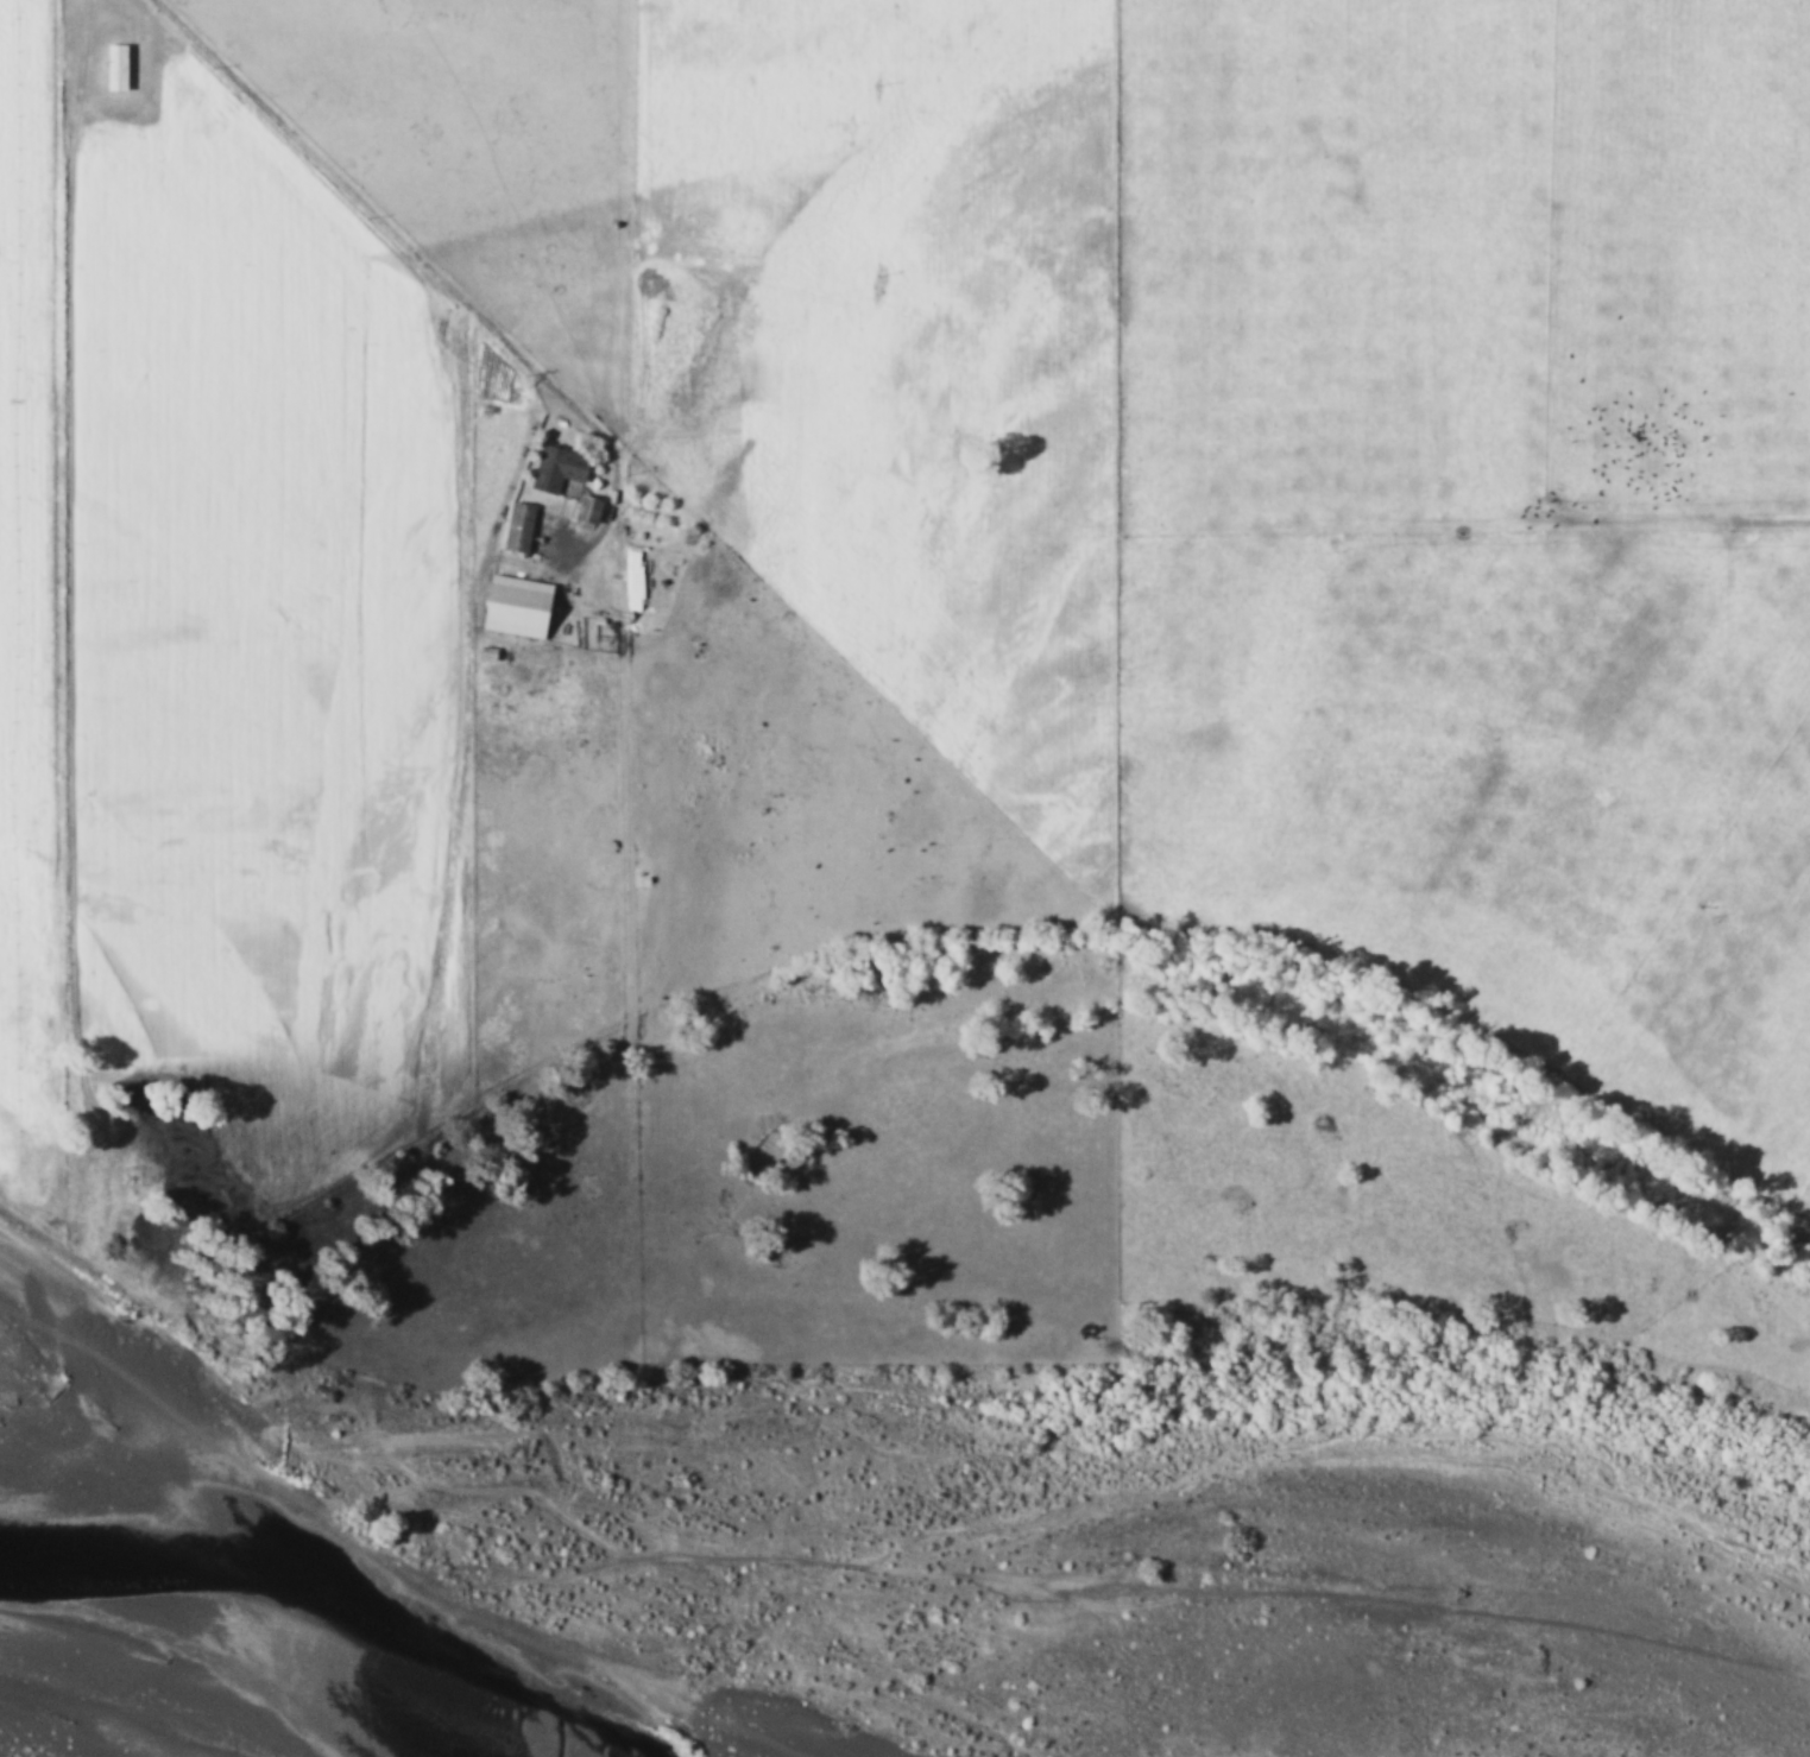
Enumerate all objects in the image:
road: (421, 258)
building: (556, 468)
building: (585, 508)
building: (517, 526)
building: (512, 605)
river: (1172, 1338)
river: (559, 1715)

